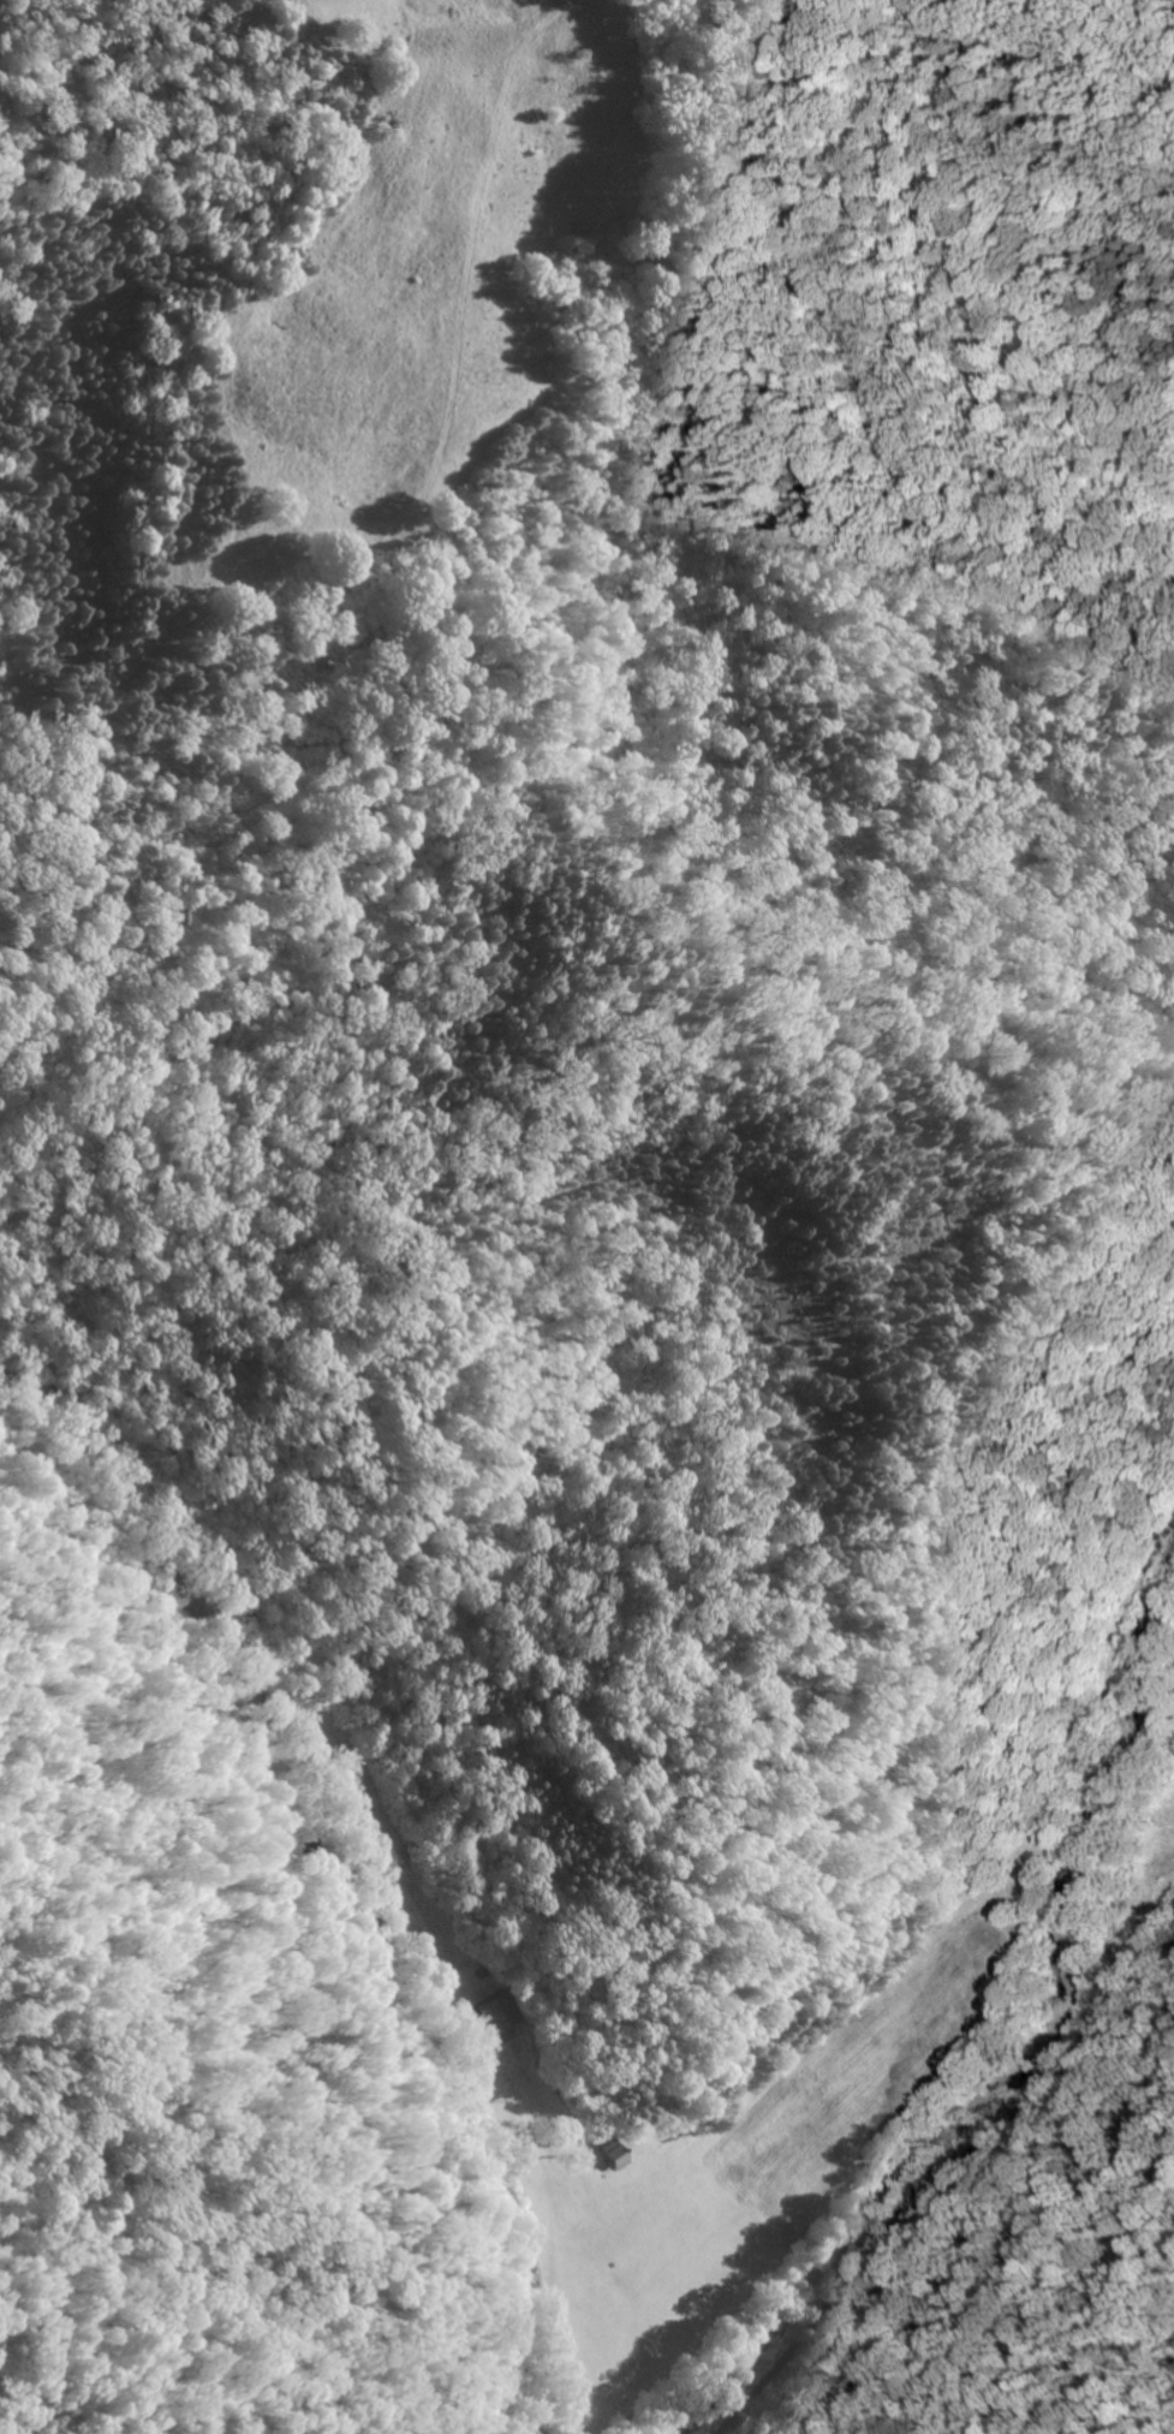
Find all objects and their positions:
building: (487, 2016)
building: (607, 2158)

